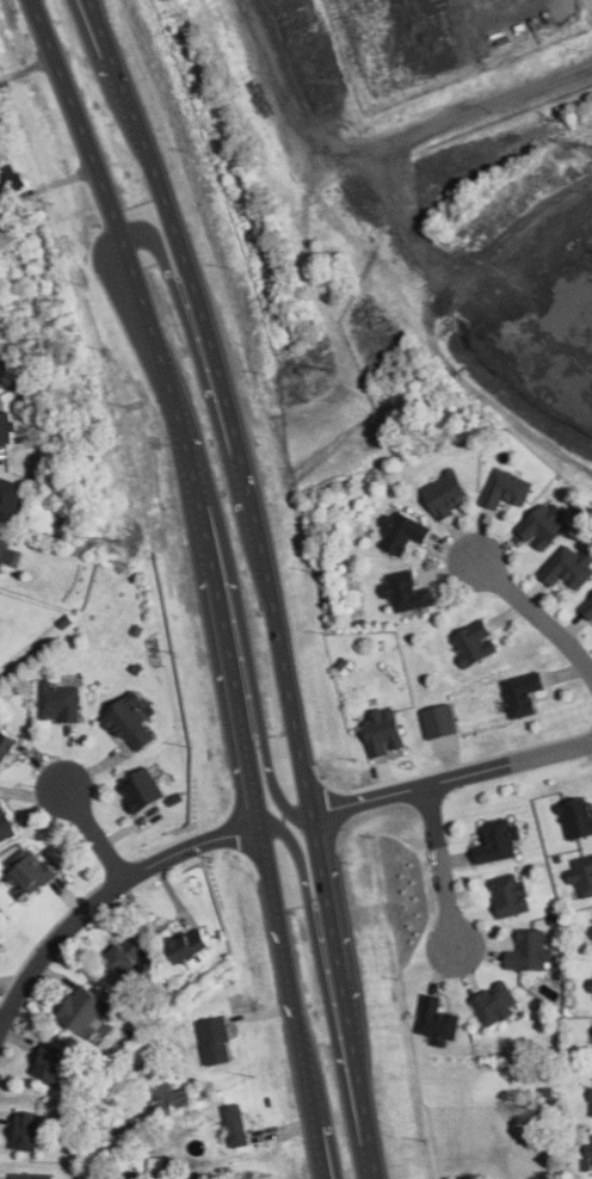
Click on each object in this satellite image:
road: (92, 50)
road: (68, 119)
building: (11, 178)
power tower: (471, 254)
road: (146, 321)
road: (206, 394)
road: (227, 399)
building: (6, 428)
road: (191, 463)
building: (505, 488)
building: (444, 494)
building: (10, 500)
power tower: (158, 512)
building: (544, 525)
building: (401, 531)
building: (6, 551)
building: (568, 568)
building: (405, 592)
building: (587, 609)
road: (536, 623)
building: (473, 642)
road: (233, 674)
road: (251, 680)
building: (522, 693)
building: (57, 702)
building: (439, 721)
building: (129, 722)
building: (381, 732)
building: (5, 747)
road: (455, 780)
building: (141, 789)
building: (576, 816)
building: (5, 826)
road: (95, 832)
building: (497, 841)
building: (29, 869)
road: (438, 869)
building: (581, 875)
building: (508, 895)
road: (104, 896)
road: (335, 906)
building: (187, 945)
building: (528, 951)
building: (125, 957)
building: (590, 984)
road: (326, 990)
road: (294, 1002)
building: (495, 1005)
building: (85, 1012)
building: (436, 1018)
building: (215, 1041)
building: (50, 1064)
road: (365, 1068)
building: (169, 1098)
building: (590, 1103)
road: (326, 1121)
building: (236, 1125)
building: (27, 1131)
building: (591, 1136)
building: (587, 1150)
road: (377, 1159)
building: (32, 1175)

